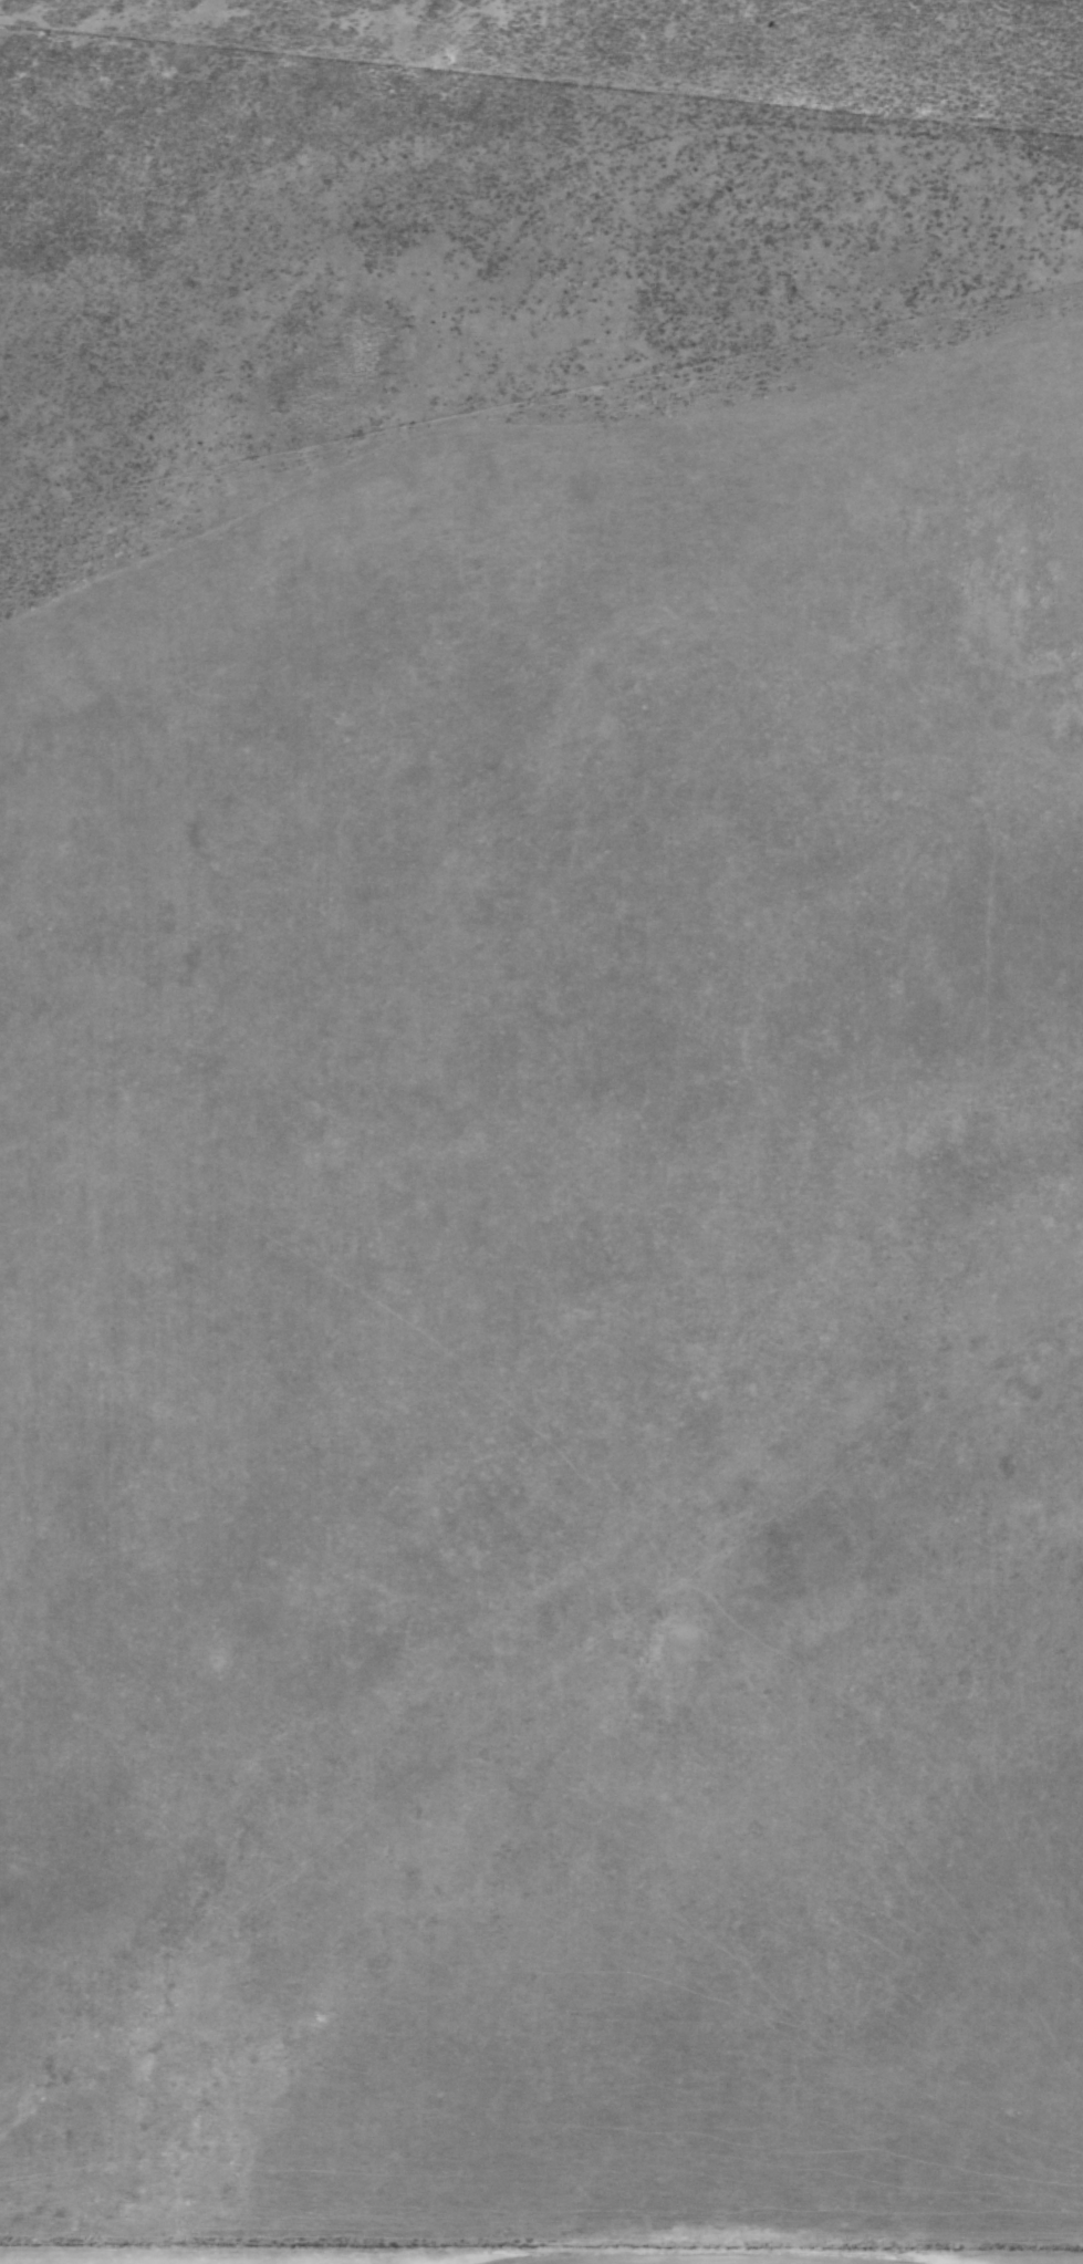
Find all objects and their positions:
crop: (541, 1131)
road: (541, 2251)

